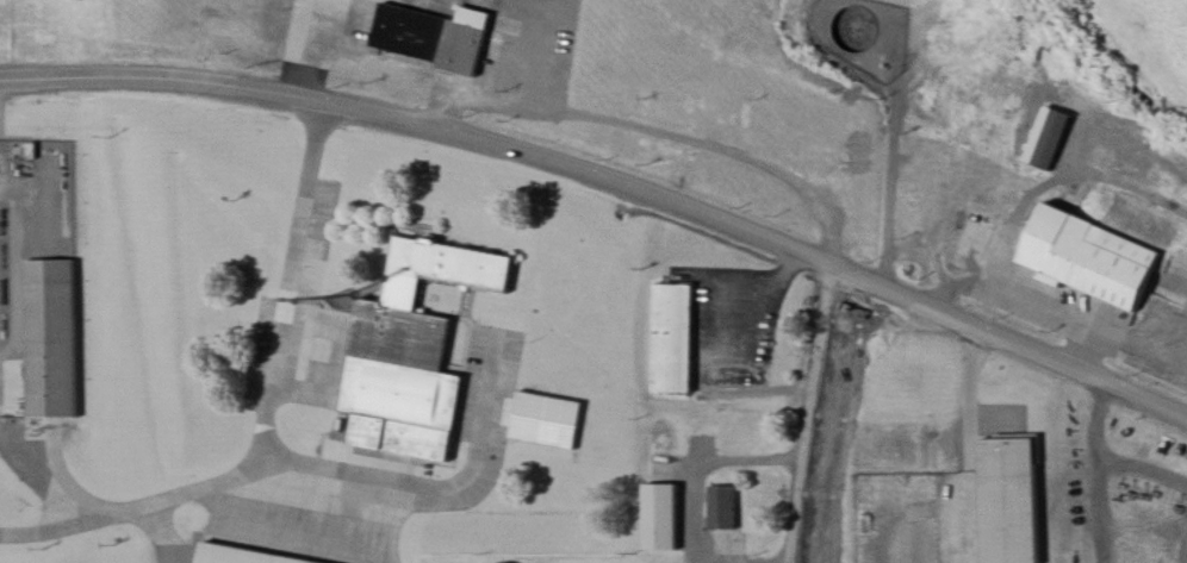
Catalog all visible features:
building: (427, 33)
road: (665, 132)
building: (1048, 137)
road: (895, 161)
road: (610, 177)
road: (1033, 195)
building: (974, 238)
building: (1089, 256)
building: (1179, 258)
road: (282, 331)
road: (1124, 336)
building: (49, 338)
building: (670, 338)
building: (411, 350)
road: (814, 413)
building: (546, 419)
road: (971, 423)
road: (298, 461)
building: (1008, 499)
building: (723, 507)
road: (56, 530)
building: (219, 530)
road: (789, 562)

